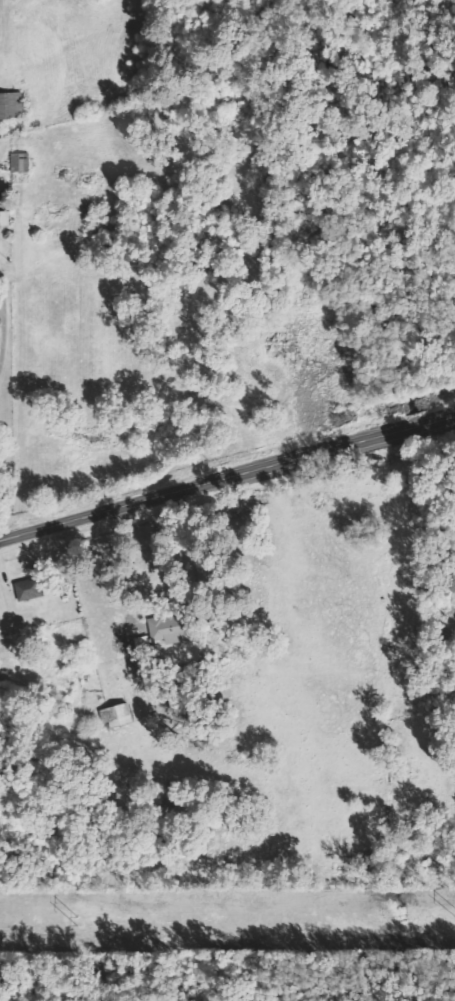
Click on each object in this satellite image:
building: (11, 105)
building: (19, 162)
building: (3, 218)
road: (227, 479)
road: (140, 562)
building: (28, 589)
building: (171, 628)
building: (116, 716)

